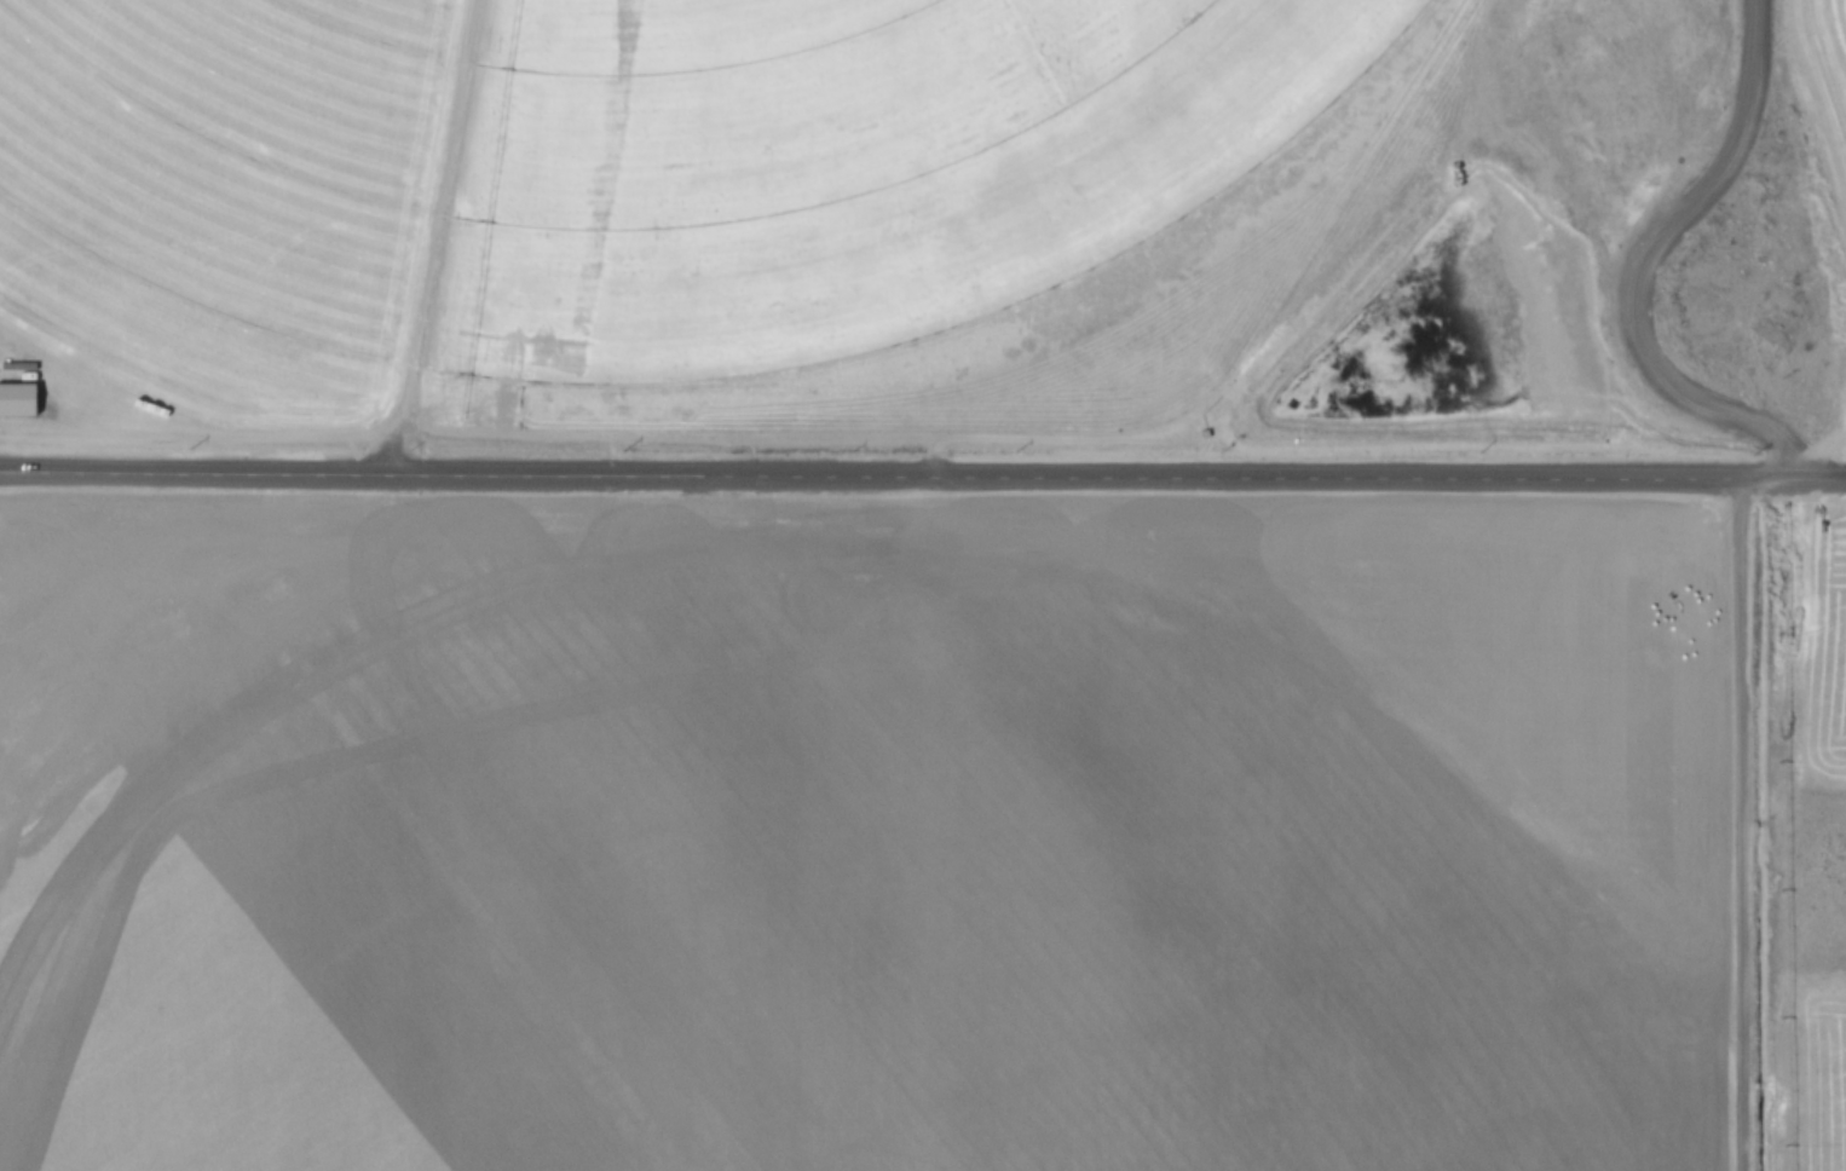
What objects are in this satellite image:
crop: (642, 172)
road: (1643, 264)
building: (17, 399)
road: (923, 473)
crop: (922, 837)

